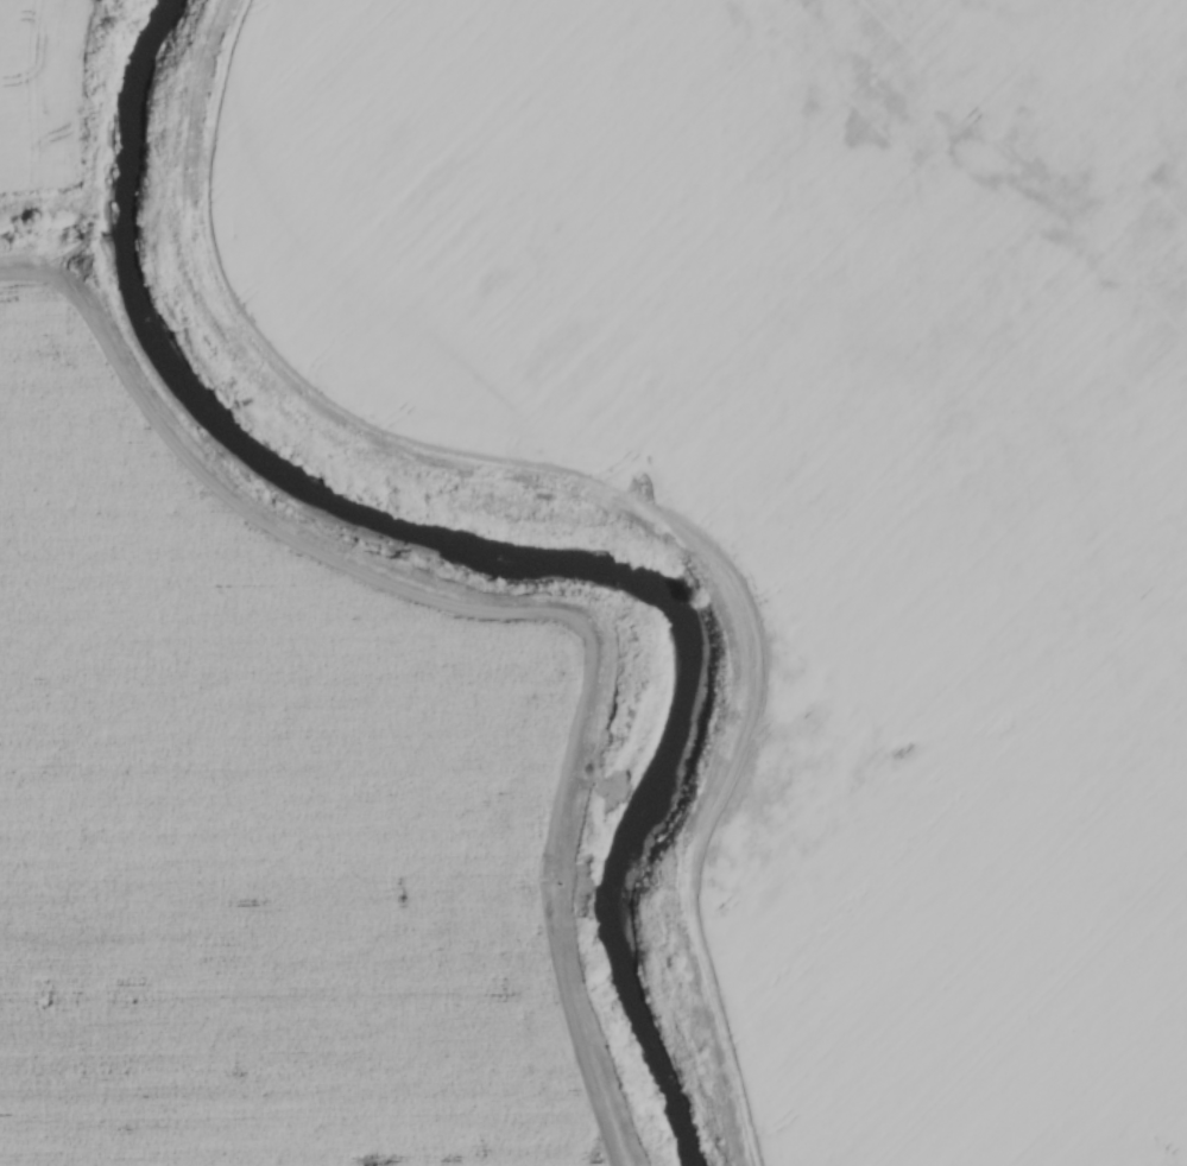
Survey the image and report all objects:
river: (513, 550)

